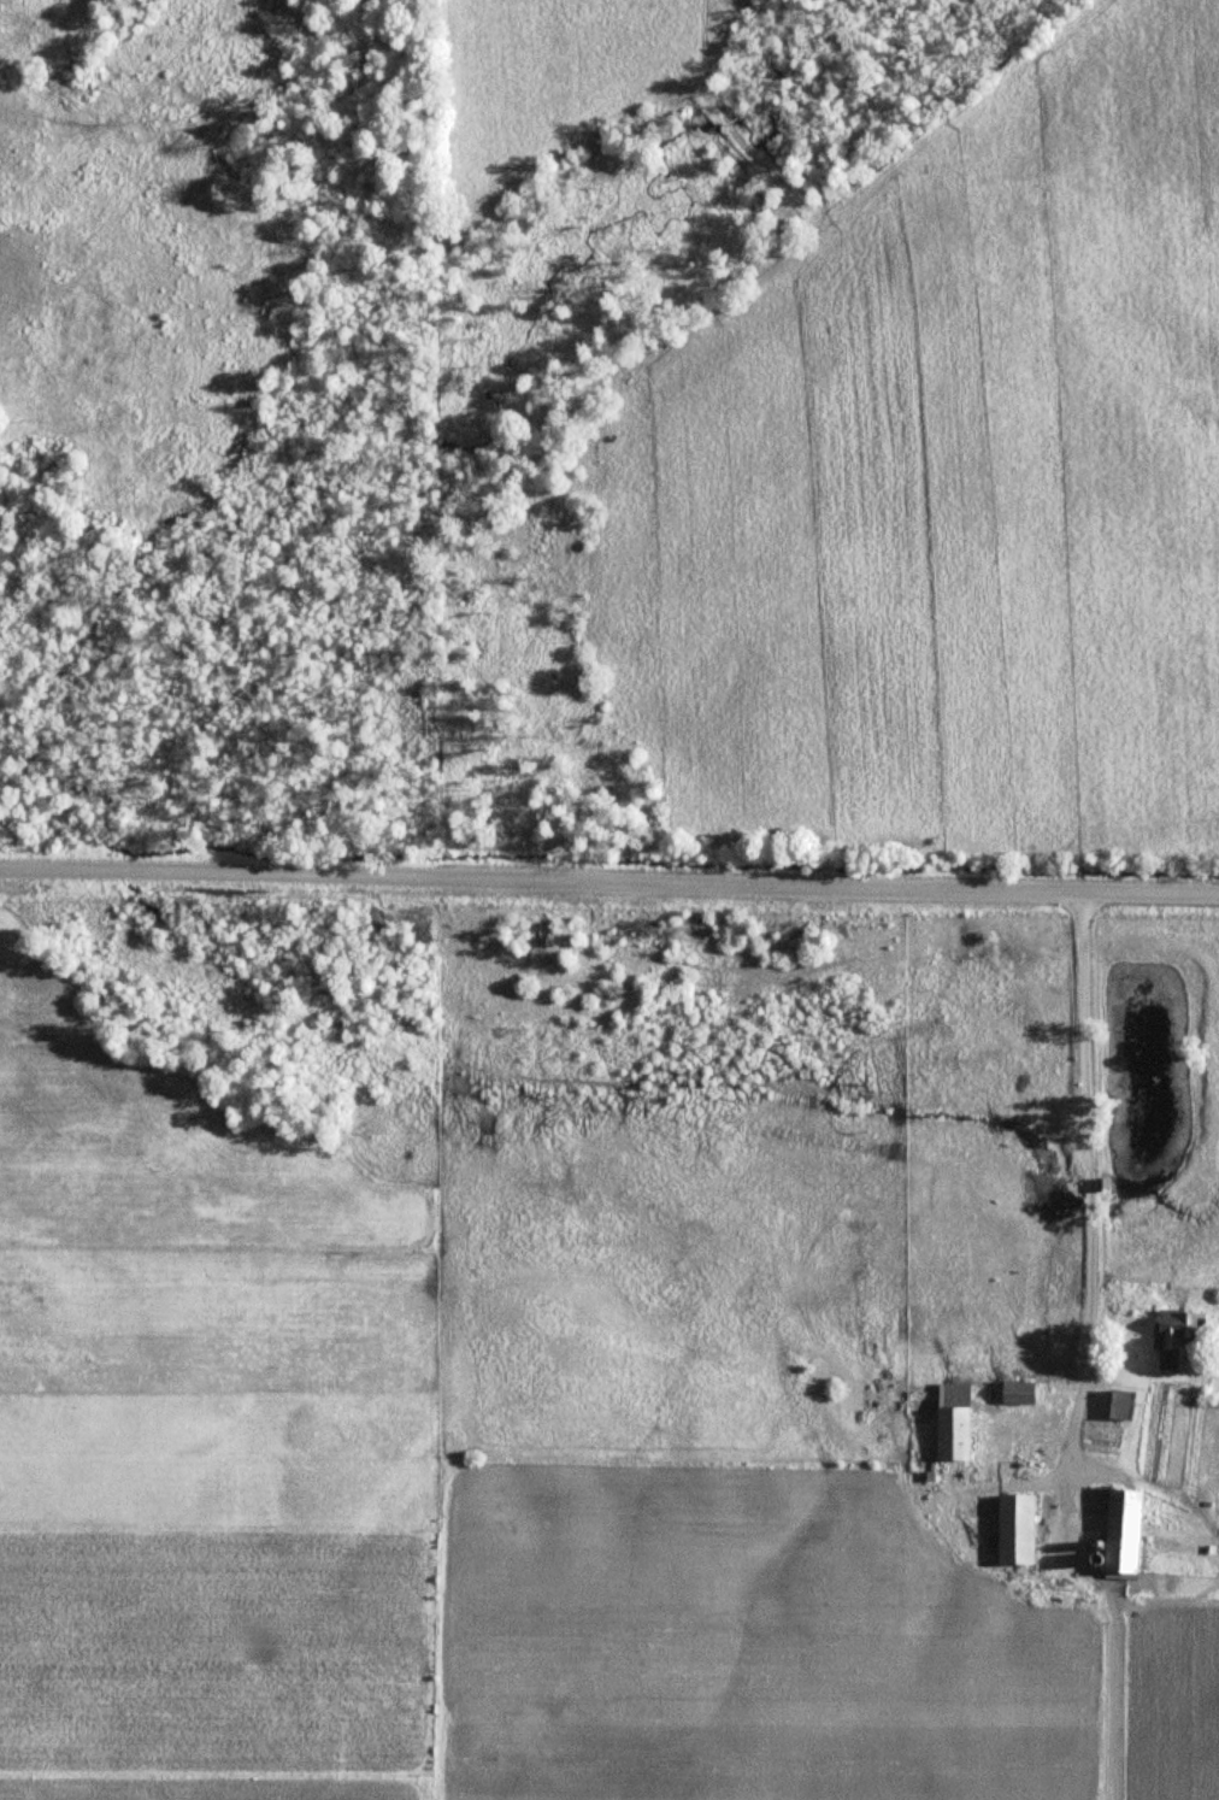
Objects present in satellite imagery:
road: (609, 877)
road: (1071, 1163)
building: (1133, 1298)
building: (1176, 1336)
building: (1119, 1404)
building: (943, 1417)
building: (1100, 1434)
building: (1014, 1529)
building: (1119, 1531)

